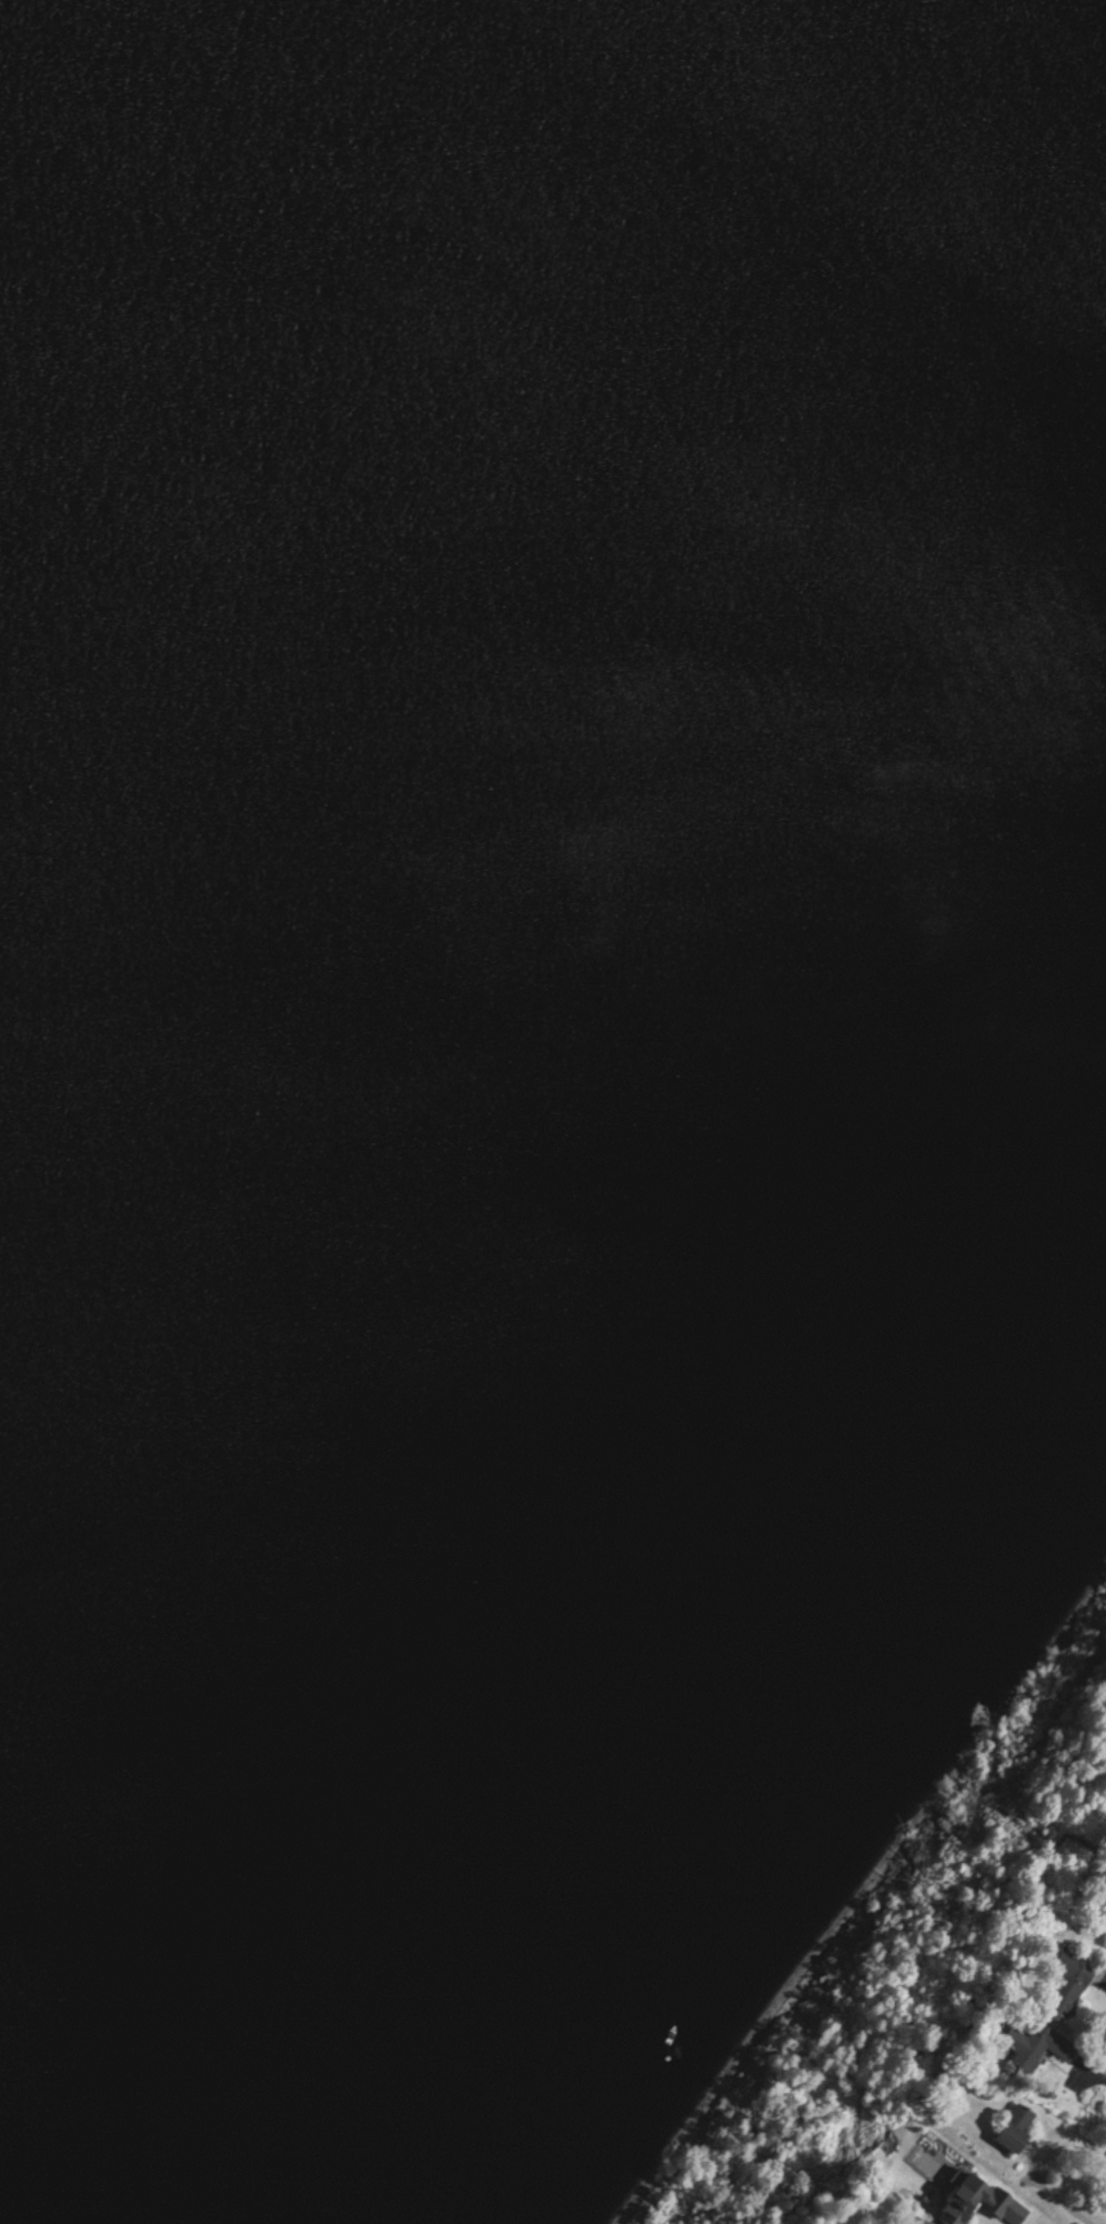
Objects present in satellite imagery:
building: (1060, 1984)
building: (1017, 2047)
road: (1094, 2075)
building: (1007, 2128)
building: (969, 2202)

